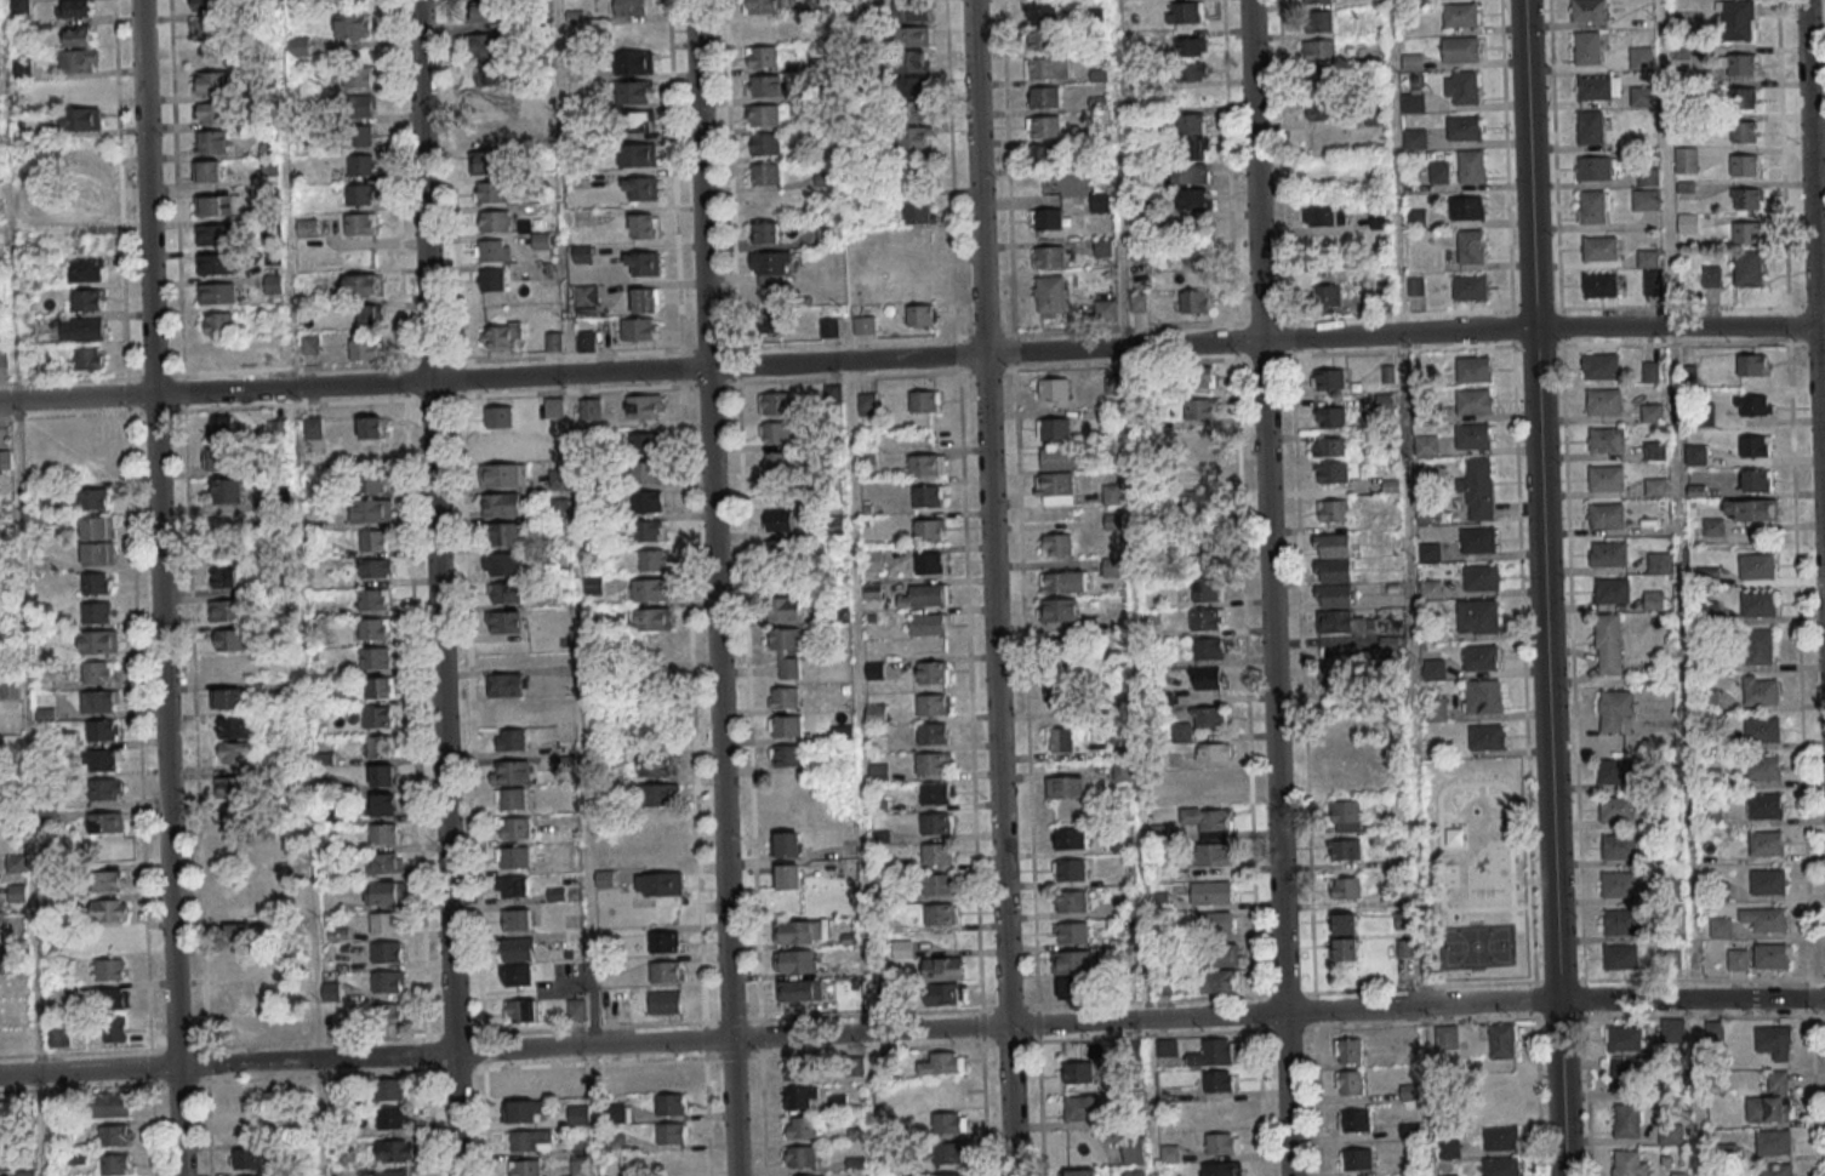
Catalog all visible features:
building: (350, 1)
building: (1317, 1)
building: (206, 5)
building: (760, 6)
building: (19, 7)
building: (631, 7)
building: (74, 8)
building: (1044, 10)
building: (1589, 10)
building: (485, 11)
building: (911, 11)
building: (1185, 12)
building: (1460, 15)
building: (1736, 19)
building: (1319, 21)
building: (352, 27)
building: (760, 27)
building: (206, 30)
building: (78, 35)
building: (912, 36)
building: (1043, 38)
building: (483, 44)
building: (1188, 46)
building: (1587, 47)
building: (1460, 48)
building: (1319, 51)
building: (762, 56)
building: (1641, 57)
building: (79, 59)
building: (912, 61)
building: (633, 62)
building: (1410, 62)
building: (1741, 63)
building: (1046, 67)
building: (1192, 70)
building: (486, 74)
building: (358, 76)
building: (1323, 81)
building: (215, 82)
building: (764, 85)
building: (1461, 87)
building: (80, 89)
building: (1598, 89)
building: (635, 91)
building: (1044, 96)
building: (1642, 96)
building: (1744, 97)
building: (496, 99)
building: (912, 99)
building: (1413, 99)
building: (357, 107)
building: (1324, 109)
road: (837, 110)
building: (210, 113)
building: (763, 115)
building: (81, 118)
building: (639, 121)
building: (1192, 124)
building: (1044, 126)
building: (1465, 127)
building: (1590, 127)
building: (484, 131)
building: (1744, 131)
building: (358, 136)
building: (914, 137)
building: (1414, 138)
building: (212, 142)
building: (765, 144)
building: (1194, 148)
building: (638, 154)
building: (1043, 155)
building: (1686, 159)
building: (485, 162)
building: (1744, 165)
building: (361, 166)
building: (1471, 166)
building: (1593, 167)
building: (209, 171)
building: (1438, 172)
building: (1190, 173)
building: (764, 175)
building: (1648, 175)
building: (91, 177)
building: (1065, 183)
building: (640, 188)
building: (490, 192)
building: (360, 194)
building: (1747, 198)
building: (1194, 199)
building: (1646, 199)
building: (1100, 201)
building: (213, 205)
building: (1593, 206)
building: (1466, 207)
building: (87, 210)
building: (919, 212)
building: (1324, 216)
building: (1416, 217)
building: (1046, 218)
building: (494, 219)
building: (360, 223)
building: (1688, 223)
building: (644, 224)
building: (308, 227)
building: (1746, 232)
building: (766, 233)
building: (213, 234)
building: (542, 240)
building: (1471, 246)
building: (1102, 247)
building: (1599, 249)
building: (492, 250)
building: (583, 253)
building: (1196, 253)
building: (1048, 256)
building: (216, 263)
building: (643, 263)
building: (1747, 268)
building: (84, 270)
building: (1650, 270)
building: (1711, 275)
building: (491, 279)
building: (361, 284)
building: (1599, 285)
building: (1470, 287)
road: (1814, 287)
building: (771, 290)
building: (217, 292)
building: (1325, 295)
building: (1051, 296)
building: (587, 298)
building: (87, 299)
building: (644, 299)
building: (1196, 301)
building: (1105, 308)
building: (371, 315)
building: (920, 315)
building: (219, 322)
building: (863, 325)
building: (82, 329)
building: (639, 329)
building: (501, 335)
building: (554, 341)
building: (586, 341)
building: (309, 343)
building: (363, 349)
building: (4, 356)
building: (89, 358)
road: (912, 358)
road: (1534, 358)
building: (1752, 364)
building: (1599, 366)
building: (1475, 369)
building: (1650, 371)
building: (1202, 377)
building: (1328, 378)
building: (1054, 388)
building: (832, 393)
building: (924, 400)
building: (1475, 400)
building: (1603, 401)
building: (775, 403)
building: (867, 403)
building: (1752, 405)
building: (644, 406)
building: (553, 407)
building: (589, 409)
building: (1199, 409)
building: (1652, 412)
building: (498, 416)
building: (1331, 416)
building: (313, 427)
building: (372, 427)
building: (222, 428)
building: (1053, 428)
building: (775, 432)
building: (1473, 435)
building: (1200, 440)
building: (1606, 440)
building: (644, 443)
building: (500, 445)
building: (1426, 445)
building: (1752, 445)
building: (1329, 446)
building: (1654, 450)
building: (1695, 453)
building: (1057, 457)
building: (218, 458)
building: (5, 459)
building: (776, 462)
building: (926, 464)
building: (646, 472)
building: (1200, 472)
building: (1336, 472)
building: (502, 474)
building: (1606, 478)
building: (1757, 479)
building: (370, 481)
building: (1655, 486)
building: (1054, 487)
building: (1478, 487)
building: (224, 490)
building: (779, 491)
building: (1112, 493)
building: (928, 495)
building: (93, 498)
building: (644, 501)
road: (1408, 502)
building: (1200, 503)
building: (502, 504)
building: (1751, 509)
building: (371, 510)
building: (1333, 510)
building: (1606, 514)
building: (777, 520)
building: (98, 527)
building: (929, 529)
building: (649, 530)
building: (503, 533)
building: (373, 540)
building: (1478, 540)
building: (1057, 544)
building: (1331, 544)
building: (226, 547)
building: (780, 549)
building: (1204, 552)
building: (1430, 552)
building: (98, 553)
building: (1608, 553)
building: (652, 559)
building: (1658, 561)
building: (930, 563)
building: (503, 564)
building: (1757, 565)
building: (1112, 566)
building: (376, 567)
building: (224, 577)
building: (1481, 577)
building: (1062, 582)
building: (97, 583)
building: (1333, 583)
road: (1270, 587)
road: (1681, 587)
road: (22, 588)
road: (160, 588)
road: (437, 588)
road: (713, 588)
road: (991, 588)
road: (1133, 588)
building: (650, 589)
building: (1205, 589)
building: (1613, 590)
building: (504, 593)
building: (924, 595)
building: (373, 599)
building: (1758, 603)
building: (783, 607)
building: (1057, 609)
building: (227, 610)
building: (101, 612)
building: (1477, 617)
building: (651, 618)
building: (1207, 618)
building: (504, 622)
building: (1341, 622)
building: (928, 624)
building: (375, 628)
building: (230, 639)
building: (98, 641)
road: (1322, 641)
building: (1608, 644)
building: (1760, 646)
building: (651, 647)
building: (1209, 649)
building: (787, 650)
building: (1065, 651)
building: (375, 657)
building: (1479, 658)
building: (1433, 670)
building: (98, 672)
building: (933, 672)
building: (1340, 675)
building: (1207, 678)
building: (652, 679)
building: (506, 684)
building: (380, 686)
building: (11, 690)
building: (1761, 690)
building: (1483, 695)
building: (229, 697)
building: (783, 697)
building: (1061, 697)
building: (98, 700)
building: (931, 704)
building: (1614, 709)
building: (1436, 710)
building: (877, 713)
building: (378, 715)
building: (1208, 717)
building: (785, 725)
building: (235, 727)
building: (102, 729)
building: (1762, 729)
building: (1181, 731)
building: (931, 733)
building: (1487, 736)
building: (512, 740)
building: (1059, 740)
building: (877, 743)
building: (380, 746)
building: (1214, 752)
building: (234, 753)
building: (786, 755)
building: (101, 759)
building: (656, 763)
building: (931, 763)
building: (1764, 767)
road: (860, 769)
building: (1616, 770)
building: (876, 771)
building: (509, 772)
building: (1342, 772)
building: (383, 775)
road: (584, 775)
building: (1213, 781)
building: (1066, 786)
building: (232, 787)
building: (105, 789)
building: (934, 793)
building: (660, 794)
building: (511, 799)
building: (384, 804)
building: (1766, 805)
building: (1616, 809)
building: (1711, 815)
building: (233, 816)
building: (1345, 816)
building: (105, 822)
building: (936, 822)
building: (514, 827)
building: (384, 833)
building: (1210, 834)
building: (1068, 838)
building: (234, 843)
building: (1767, 843)
building: (787, 844)
building: (1619, 846)
building: (1345, 849)
building: (661, 854)
building: (937, 854)
building: (513, 857)
road: (1551, 857)
building: (16, 862)
building: (386, 862)
park: (1476, 867)
building: (1068, 869)
building: (787, 875)
building: (107, 880)
building: (1768, 880)
building: (658, 884)
building: (937, 884)
building: (1619, 884)
building: (513, 886)
building: (1345, 887)
building: (17, 892)
building: (388, 892)
building: (1211, 892)
building: (1071, 901)
building: (109, 909)
building: (942, 914)
building: (517, 919)
building: (1766, 919)
building: (1620, 921)
building: (384, 923)
building: (1214, 923)
building: (1721, 926)
building: (800, 931)
building: (1071, 932)
building: (238, 934)
building: (1345, 936)
building: (112, 940)
building: (572, 940)
building: (665, 941)
building: (517, 948)
building: (387, 952)
building: (1217, 955)
building: (1772, 955)
building: (1621, 957)
building: (1738, 959)
building: (795, 961)
building: (1076, 961)
building: (236, 963)
building: (943, 967)
building: (110, 969)
building: (665, 971)
building: (515, 975)
building: (388, 981)
building: (1216, 981)
building: (1074, 987)
building: (331, 991)
building: (799, 991)
building: (240, 992)
building: (943, 993)
building: (116, 998)
building: (665, 1001)
building: (614, 1003)
building: (576, 1009)
building: (521, 1010)
building: (389, 1014)
road: (315, 1015)
building: (115, 1029)
building: (1672, 1029)
building: (1715, 1029)
road: (912, 1031)
building: (1447, 1037)
building: (1624, 1038)
building: (1501, 1040)
building: (1775, 1041)
building: (1165, 1047)
building: (1350, 1050)
building: (1213, 1052)
building: (942, 1063)
building: (800, 1069)
building: (1078, 1072)
building: (1625, 1075)
building: (618, 1078)
building: (668, 1078)
building: (1217, 1080)
building: (576, 1081)
building: (1350, 1081)
building: (523, 1084)
road: (1559, 1086)
building: (389, 1089)
building: (1409, 1091)
building: (800, 1097)
building: (1772, 1100)
building: (671, 1103)
building: (112, 1104)
building: (1080, 1107)
building: (523, 1111)
building: (617, 1112)
building: (578, 1114)
building: (393, 1117)
building: (1626, 1119)
building: (1355, 1120)
building: (948, 1121)
building: (802, 1126)
building: (243, 1129)
building: (672, 1132)
building: (1670, 1134)
building: (115, 1135)
building: (1500, 1137)
building: (529, 1140)
building: (1221, 1142)
building: (615, 1143)
building: (1774, 1143)
building: (1449, 1148)
building: (395, 1149)
building: (947, 1152)
building: (800, 1155)
building: (243, 1158)
building: (1356, 1159)
building: (667, 1163)
building: (115, 1164)
building: (1629, 1164)
building: (581, 1165)
building: (1501, 1166)
building: (525, 1168)
building: (1221, 1169)
building: (1775, 1170)
building: (392, 1172)
building: (1080, 1172)
building: (25, 1174)
building: (949, 1174)
building: (1135, 1174)
building: (1682, 1174)
building: (806, 1175)

